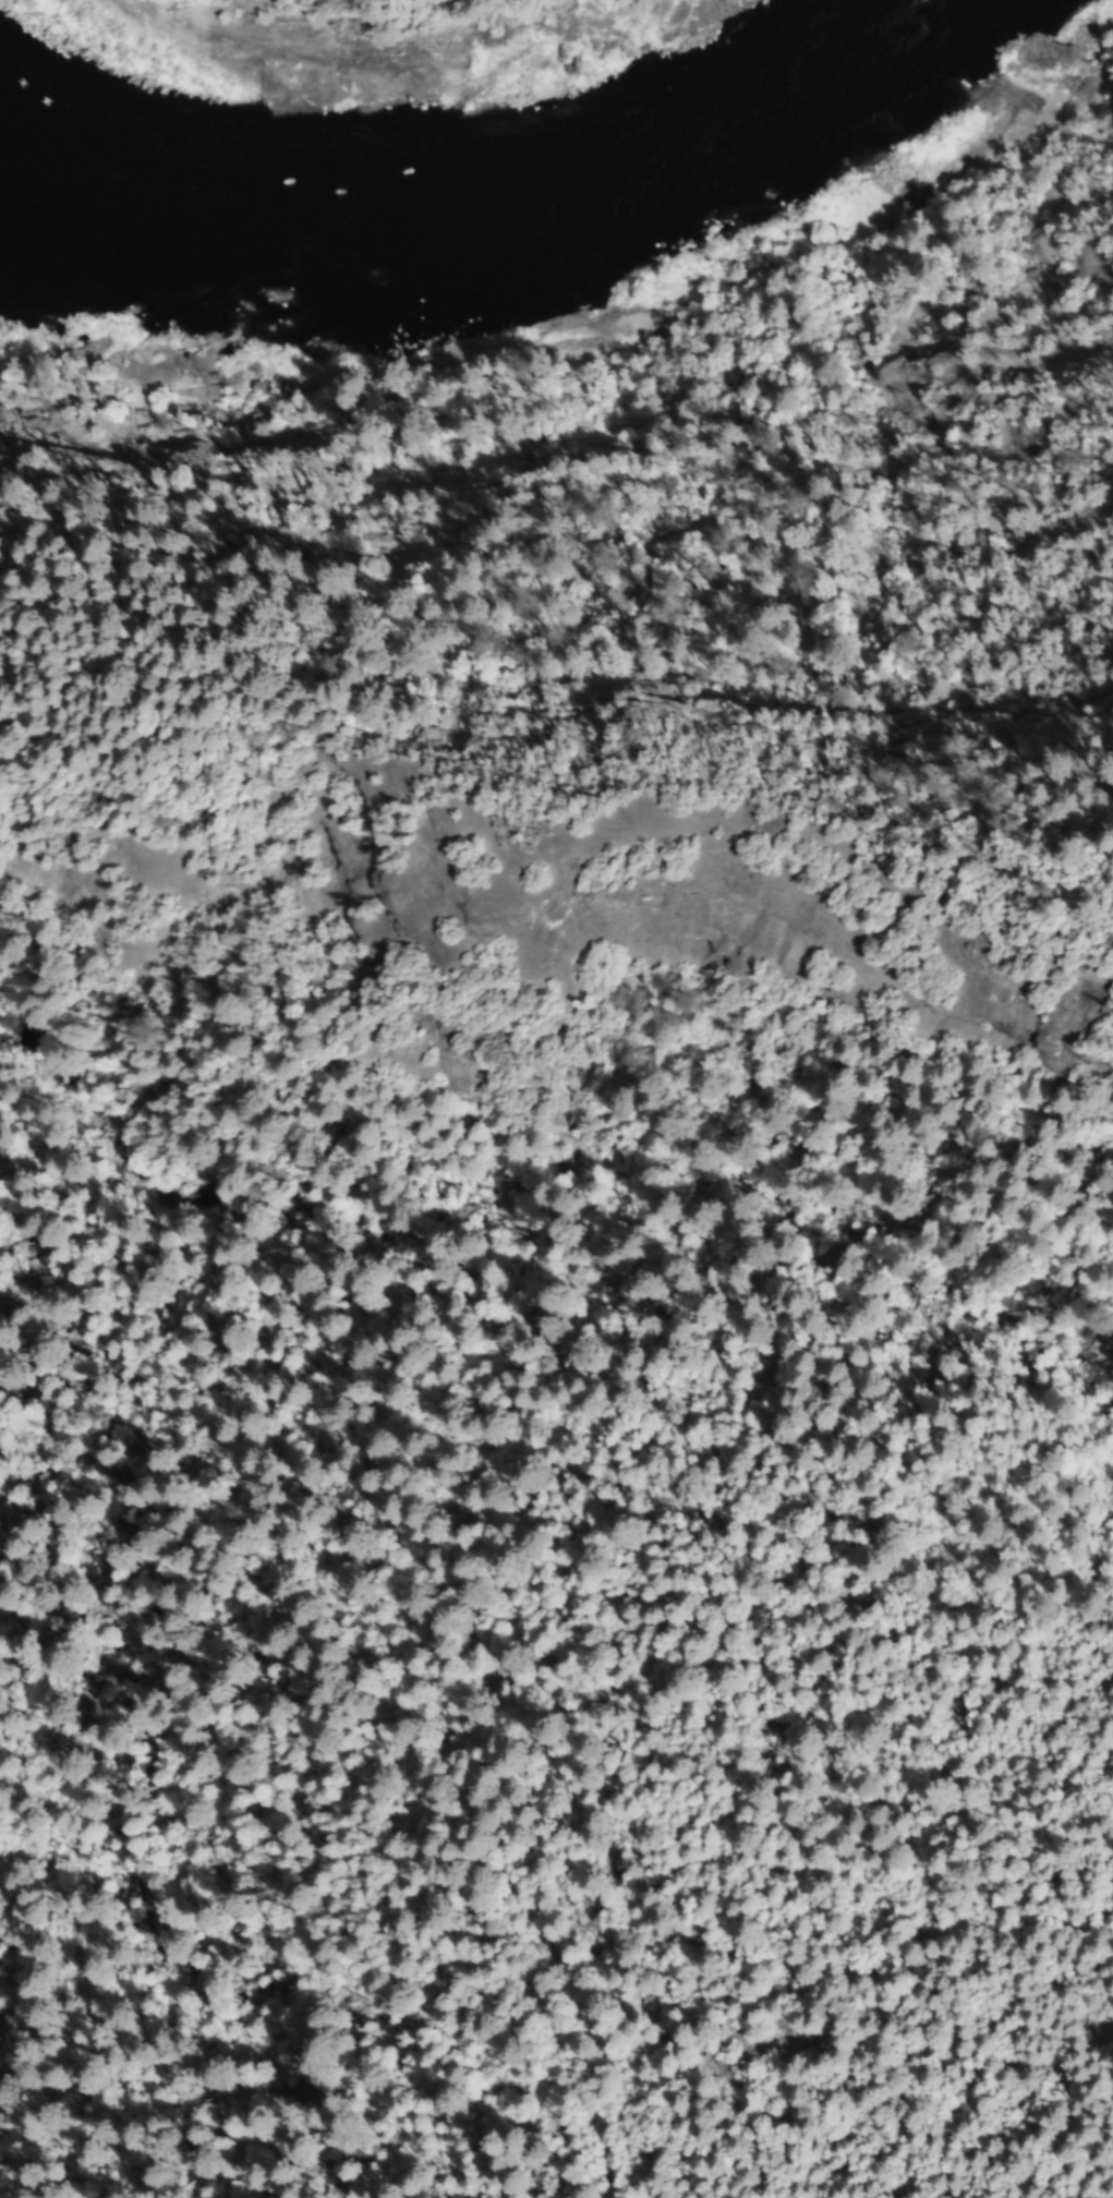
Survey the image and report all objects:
river: (515, 208)

